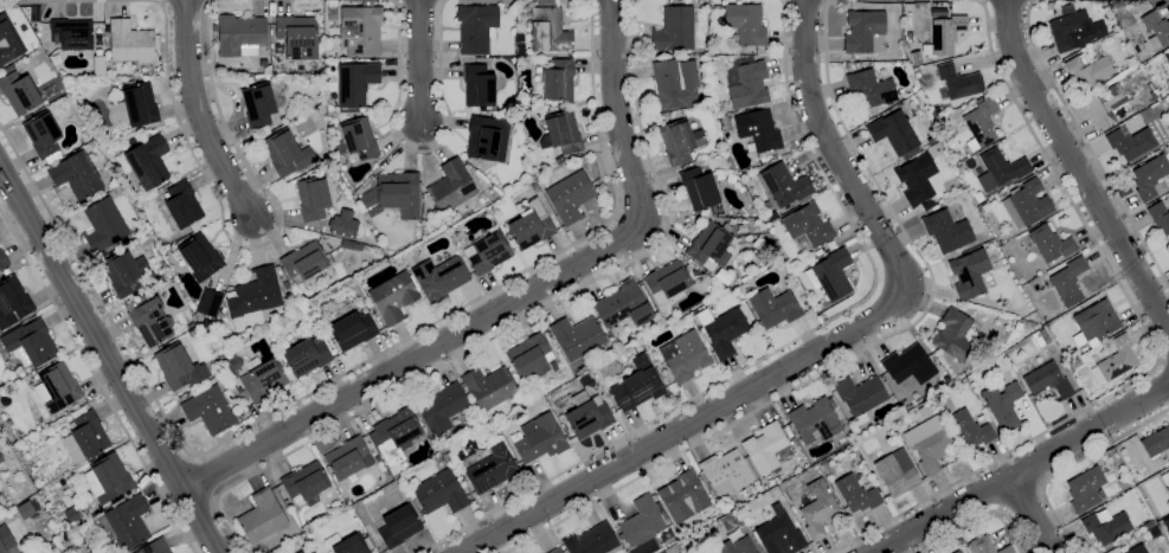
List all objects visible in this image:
road: (612, 0)
road: (894, 0)
road: (1007, 1)
building: (332, 14)
building: (745, 24)
building: (476, 27)
building: (550, 28)
building: (360, 30)
building: (674, 30)
building: (1156, 30)
building: (862, 31)
building: (1073, 31)
building: (71, 34)
building: (946, 34)
building: (239, 36)
building: (297, 36)
building: (8, 41)
building: (130, 43)
building: (916, 58)
building: (1167, 58)
building: (262, 63)
road: (420, 63)
building: (8, 67)
building: (1088, 70)
building: (250, 81)
building: (558, 81)
building: (745, 82)
building: (959, 82)
building: (355, 83)
building: (675, 84)
building: (478, 85)
building: (871, 89)
building: (19, 92)
building: (704, 96)
building: (134, 104)
building: (258, 104)
building: (1109, 105)
building: (721, 111)
building: (1146, 112)
road: (198, 114)
building: (662, 115)
building: (981, 124)
building: (758, 130)
building: (561, 133)
building: (43, 134)
building: (895, 134)
building: (487, 136)
building: (358, 139)
building: (680, 141)
building: (929, 141)
road: (1087, 142)
building: (1130, 142)
building: (719, 147)
building: (1167, 149)
road: (422, 150)
building: (285, 154)
building: (559, 160)
building: (148, 162)
building: (959, 169)
building: (1000, 169)
road: (1077, 169)
building: (76, 175)
building: (1150, 178)
building: (917, 179)
building: (451, 186)
building: (534, 187)
building: (782, 187)
building: (700, 191)
road: (216, 193)
building: (393, 195)
building: (570, 197)
building: (313, 199)
building: (1026, 205)
building: (180, 206)
building: (983, 208)
building: (1160, 217)
building: (343, 224)
building: (104, 225)
building: (529, 225)
building: (808, 226)
building: (946, 231)
building: (1051, 244)
building: (1168, 244)
building: (711, 245)
building: (224, 251)
building: (488, 251)
building: (818, 252)
building: (199, 258)
building: (2, 261)
building: (304, 261)
building: (699, 266)
building: (6, 271)
building: (695, 272)
building: (124, 274)
building: (830, 275)
building: (969, 275)
building: (724, 277)
building: (439, 278)
building: (668, 282)
building: (1068, 282)
building: (285, 285)
building: (798, 291)
building: (253, 297)
building: (394, 297)
road: (513, 300)
building: (12, 302)
building: (208, 302)
building: (623, 306)
building: (773, 308)
building: (308, 313)
building: (149, 320)
road: (520, 321)
building: (207, 323)
building: (1094, 323)
building: (351, 328)
building: (192, 333)
building: (725, 333)
building: (953, 335)
building: (577, 336)
building: (30, 345)
road: (783, 346)
road: (1156, 346)
road: (863, 347)
road: (822, 348)
building: (306, 356)
building: (529, 356)
building: (685, 356)
road: (108, 361)
building: (1116, 361)
building: (908, 367)
building: (179, 368)
road: (1164, 369)
building: (7, 377)
road: (330, 378)
building: (263, 379)
road: (97, 380)
building: (1048, 381)
building: (637, 385)
building: (57, 387)
building: (488, 387)
building: (860, 396)
building: (75, 406)
building: (1003, 406)
building: (441, 407)
building: (927, 409)
building: (208, 410)
building: (587, 416)
building: (815, 420)
building: (888, 427)
building: (970, 429)
building: (789, 433)
building: (396, 435)
building: (85, 436)
building: (538, 439)
building: (792, 441)
building: (929, 443)
building: (1157, 444)
building: (765, 448)
building: (349, 457)
building: (1, 458)
road: (1071, 464)
building: (492, 469)
building: (726, 471)
building: (1168, 471)
building: (897, 472)
road: (1032, 475)
building: (109, 477)
road: (201, 478)
building: (304, 483)
building: (1123, 484)
building: (783, 487)
building: (1085, 489)
building: (1168, 489)
building: (441, 493)
building: (856, 494)
building: (681, 496)
road: (1021, 496)
building: (2, 500)
building: (25, 509)
building: (817, 509)
building: (744, 510)
building: (262, 516)
road: (981, 516)
road: (1038, 517)
building: (642, 521)
building: (128, 522)
building: (1165, 523)
building: (399, 526)
building: (1106, 527)
building: (779, 533)
building: (666, 536)
building: (5, 540)
building: (591, 540)
building: (300, 541)
building: (368, 544)
building: (351, 545)
building: (981, 545)
power tower: (68, 546)
building: (737, 546)
building: (155, 547)
building: (1006, 549)
building: (1137, 549)
building: (309, 551)
building: (555, 551)
building: (301, 552)
building: (662, 552)
building: (957, 552)

